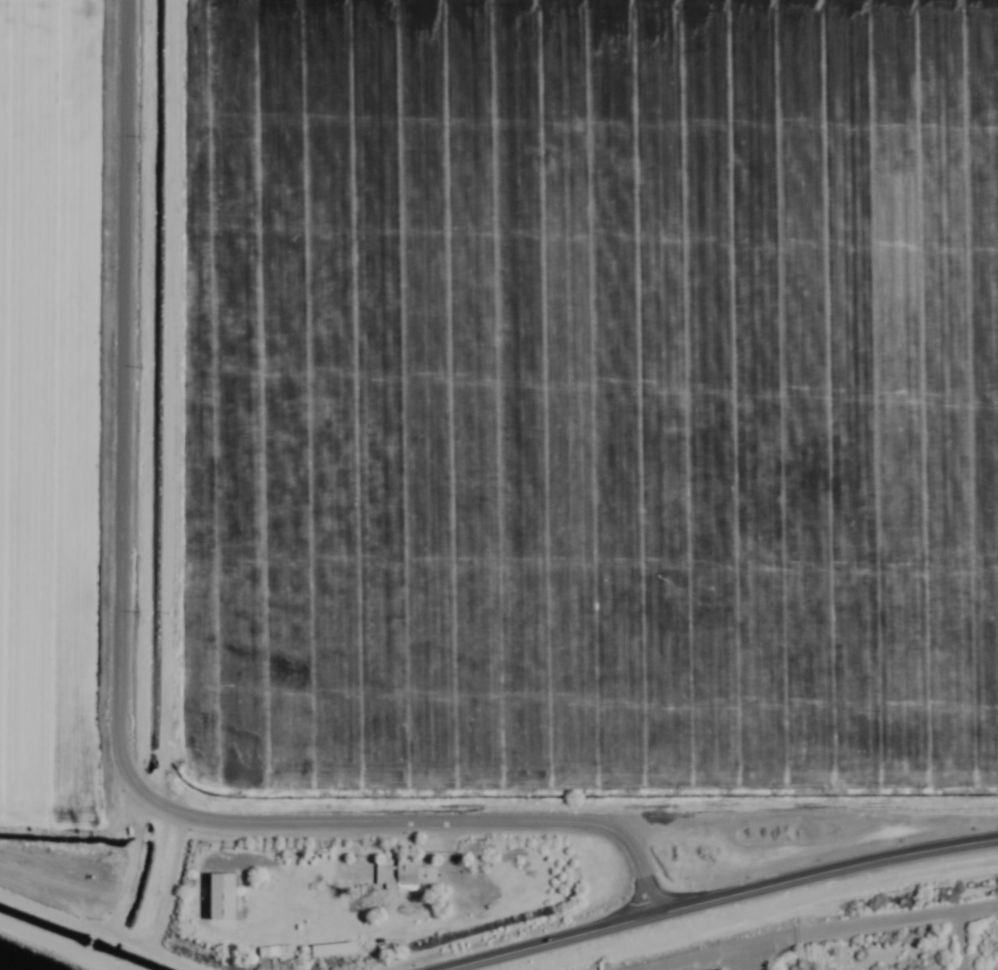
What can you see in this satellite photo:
road: (121, 680)
building: (401, 876)
road: (824, 876)
road: (544, 940)
road: (66, 942)

